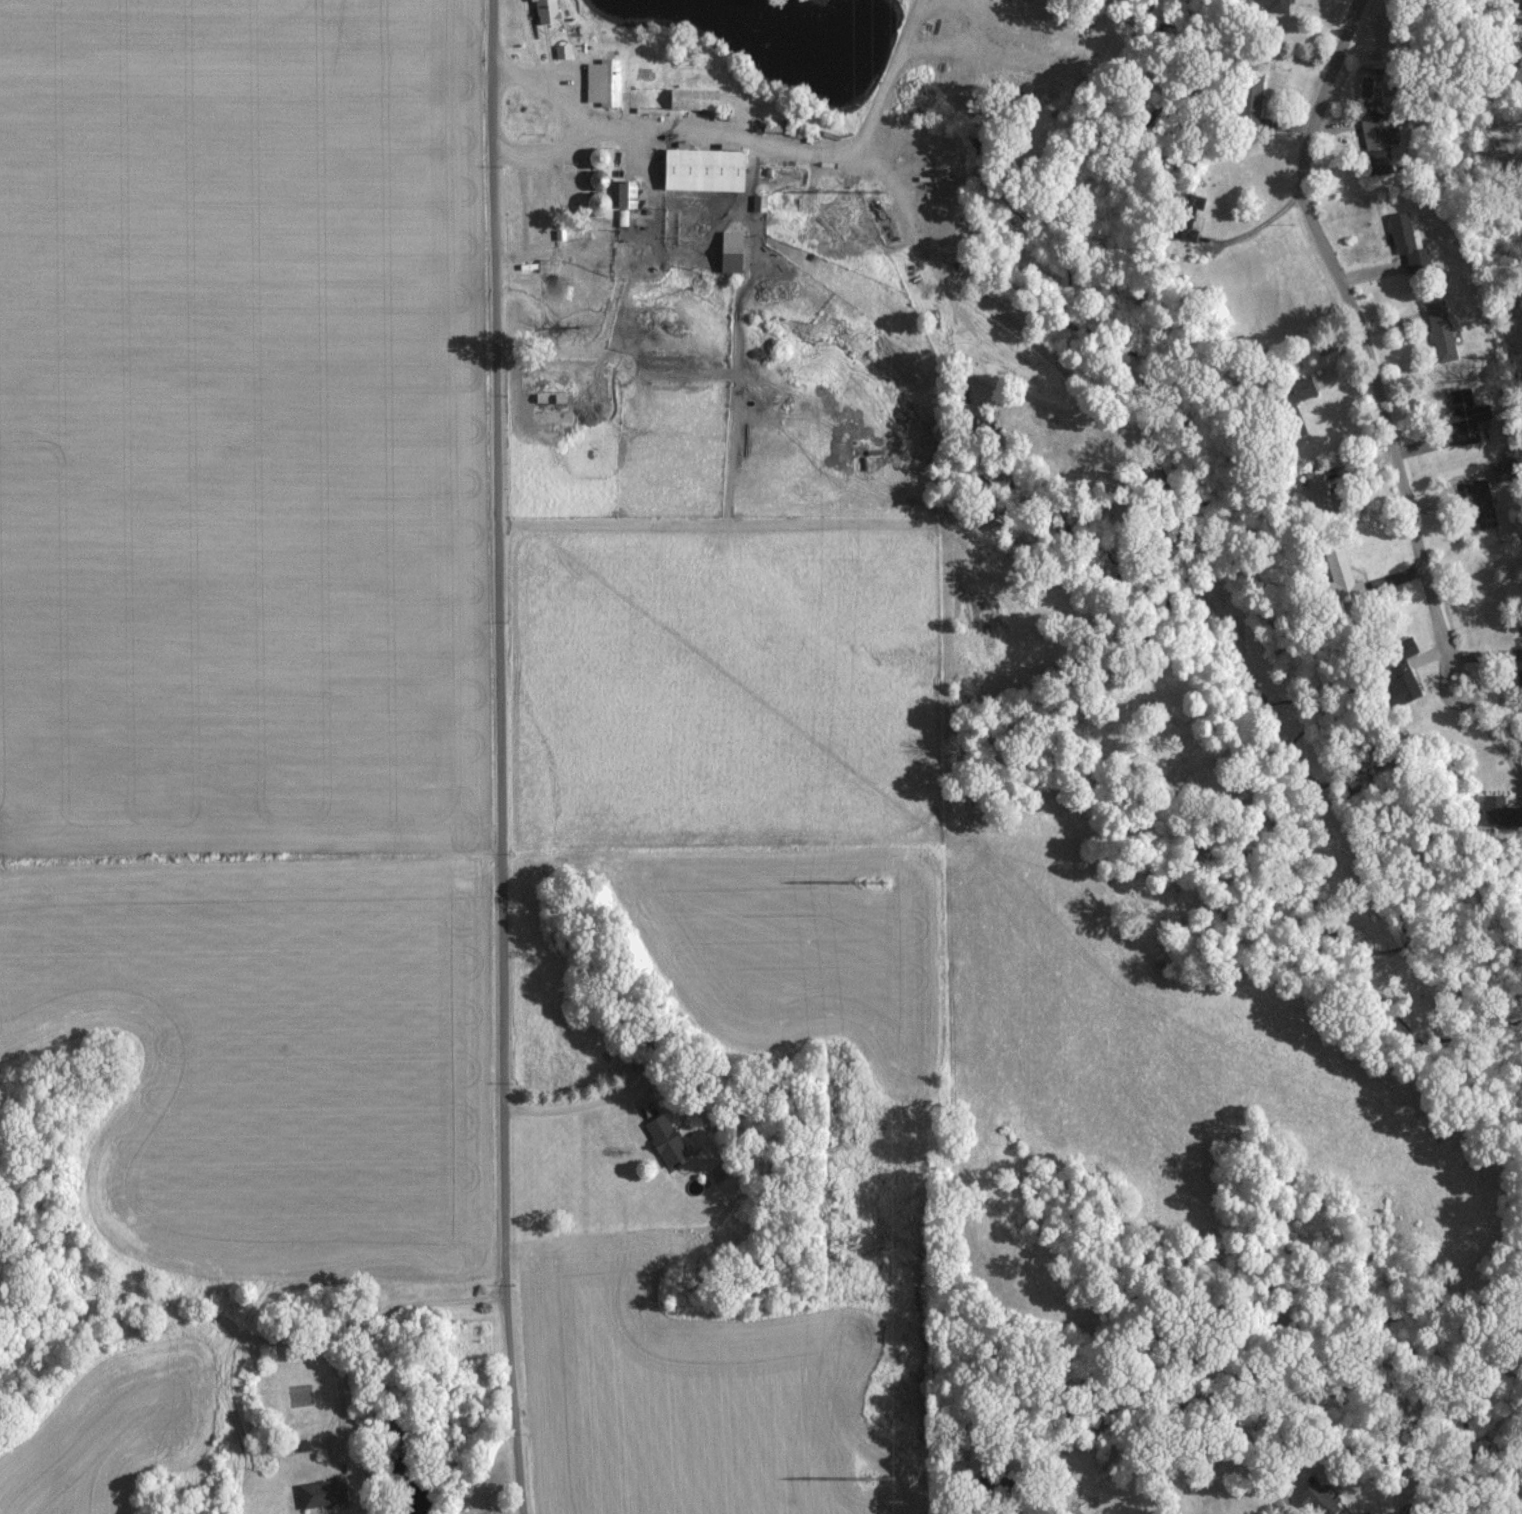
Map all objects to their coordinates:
building: (1519, 3)
building: (1273, 5)
building: (550, 10)
building: (564, 50)
building: (607, 81)
building: (698, 98)
building: (1246, 101)
road: (572, 118)
road: (717, 132)
building: (711, 169)
building: (631, 193)
power tower: (871, 194)
building: (1183, 215)
building: (624, 217)
road: (1261, 224)
building: (1405, 241)
building: (737, 251)
building: (1438, 330)
road: (1368, 341)
building: (1291, 404)
building: (1461, 414)
building: (1314, 488)
building: (1477, 504)
building: (1332, 575)
building: (1398, 676)
building: (1519, 678)
road: (502, 757)
building: (1495, 812)
power tower: (876, 883)
road: (580, 1108)
building: (662, 1137)
road: (360, 1323)
power tower: (877, 1480)
building: (316, 1491)
building: (1314, 1498)
building: (1361, 1512)

